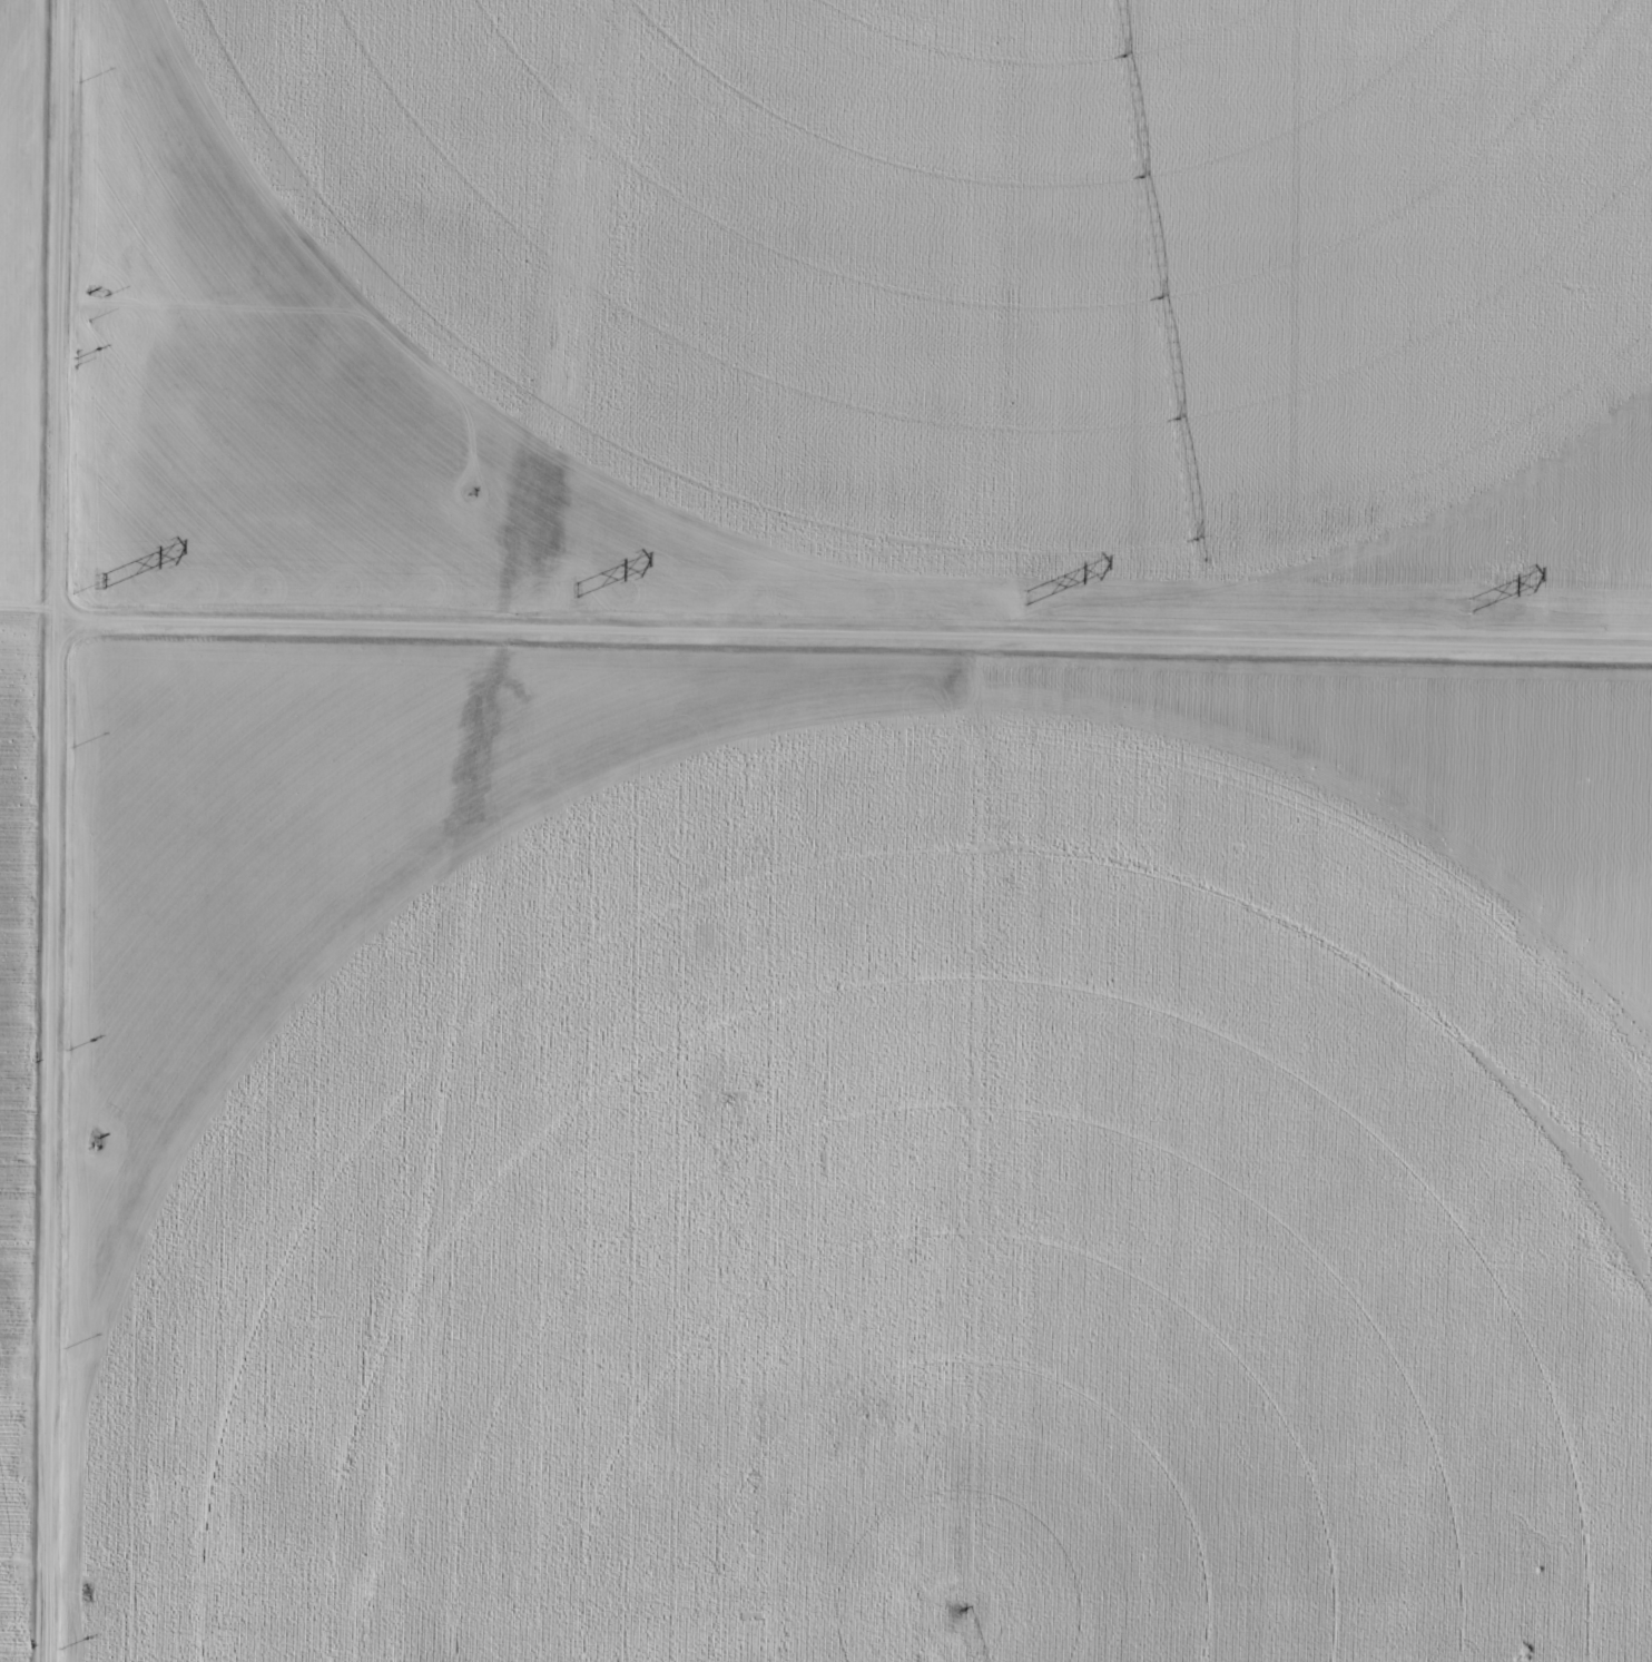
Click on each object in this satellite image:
road: (1117, 324)
power tower: (104, 576)
power tower: (577, 589)
power tower: (1024, 594)
power tower: (1465, 603)
road: (856, 641)
road: (58, 830)

